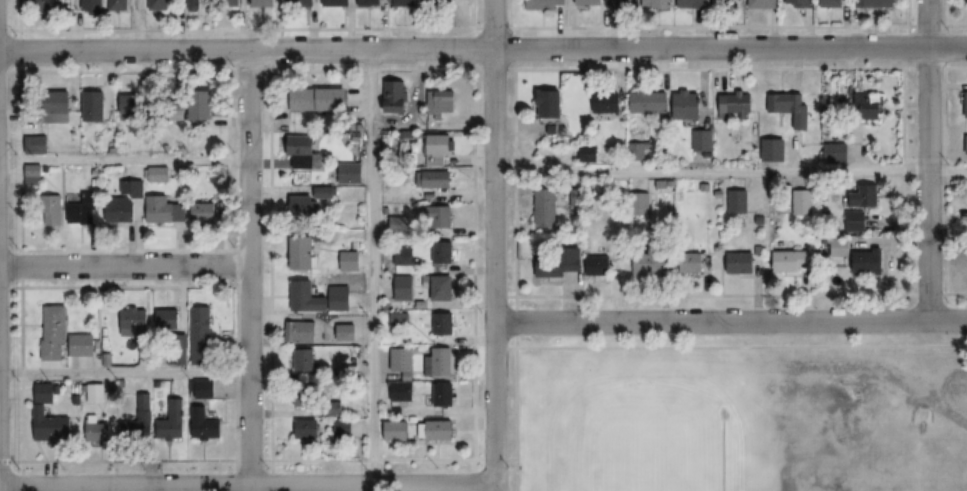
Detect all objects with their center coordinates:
building: (965, 1)
building: (444, 2)
building: (590, 2)
building: (725, 2)
building: (230, 3)
building: (263, 3)
building: (301, 3)
building: (337, 3)
building: (370, 3)
building: (405, 3)
building: (658, 3)
building: (796, 3)
building: (832, 3)
building: (875, 3)
building: (542, 4)
building: (624, 4)
building: (693, 4)
building: (764, 4)
building: (42, 5)
building: (157, 5)
building: (195, 5)
building: (118, 6)
building: (92, 7)
road: (463, 47)
road: (947, 47)
building: (396, 97)
building: (321, 99)
building: (605, 102)
building: (649, 102)
building: (442, 103)
building: (552, 104)
building: (735, 104)
building: (966, 104)
building: (131, 105)
building: (688, 105)
building: (201, 106)
building: (59, 107)
building: (94, 107)
building: (868, 107)
building: (789, 108)
building: (703, 140)
building: (966, 144)
building: (440, 150)
building: (637, 150)
building: (304, 153)
building: (588, 153)
road: (927, 159)
road: (123, 160)
road: (729, 171)
building: (349, 173)
building: (158, 174)
building: (32, 175)
building: (436, 180)
building: (645, 195)
building: (862, 198)
building: (309, 201)
building: (737, 201)
building: (126, 202)
building: (800, 202)
building: (547, 208)
building: (52, 209)
building: (165, 209)
building: (83, 210)
building: (204, 212)
building: (436, 216)
building: (857, 220)
building: (398, 224)
road: (492, 245)
building: (840, 247)
building: (301, 252)
building: (443, 252)
building: (403, 256)
building: (349, 260)
building: (790, 261)
building: (869, 261)
building: (653, 262)
building: (693, 262)
building: (740, 262)
road: (123, 264)
building: (555, 268)
road: (246, 269)
road: (372, 269)
building: (402, 287)
building: (442, 287)
building: (318, 297)
building: (168, 319)
building: (399, 319)
road: (948, 320)
road: (710, 321)
building: (133, 322)
building: (443, 323)
building: (55, 331)
building: (299, 331)
road: (904, 332)
building: (348, 333)
building: (201, 335)
building: (82, 344)
road: (720, 347)
building: (304, 359)
building: (402, 360)
building: (439, 365)
building: (347, 371)
road: (123, 372)
road: (20, 378)
building: (201, 389)
building: (94, 392)
building: (444, 394)
road: (474, 394)
road: (517, 394)
building: (302, 395)
building: (39, 410)
building: (139, 421)
building: (173, 421)
building: (205, 425)
building: (343, 428)
building: (308, 429)
building: (441, 429)
building: (394, 430)
building: (98, 432)
park: (648, 438)
road: (258, 459)
road: (273, 475)
road: (246, 485)

